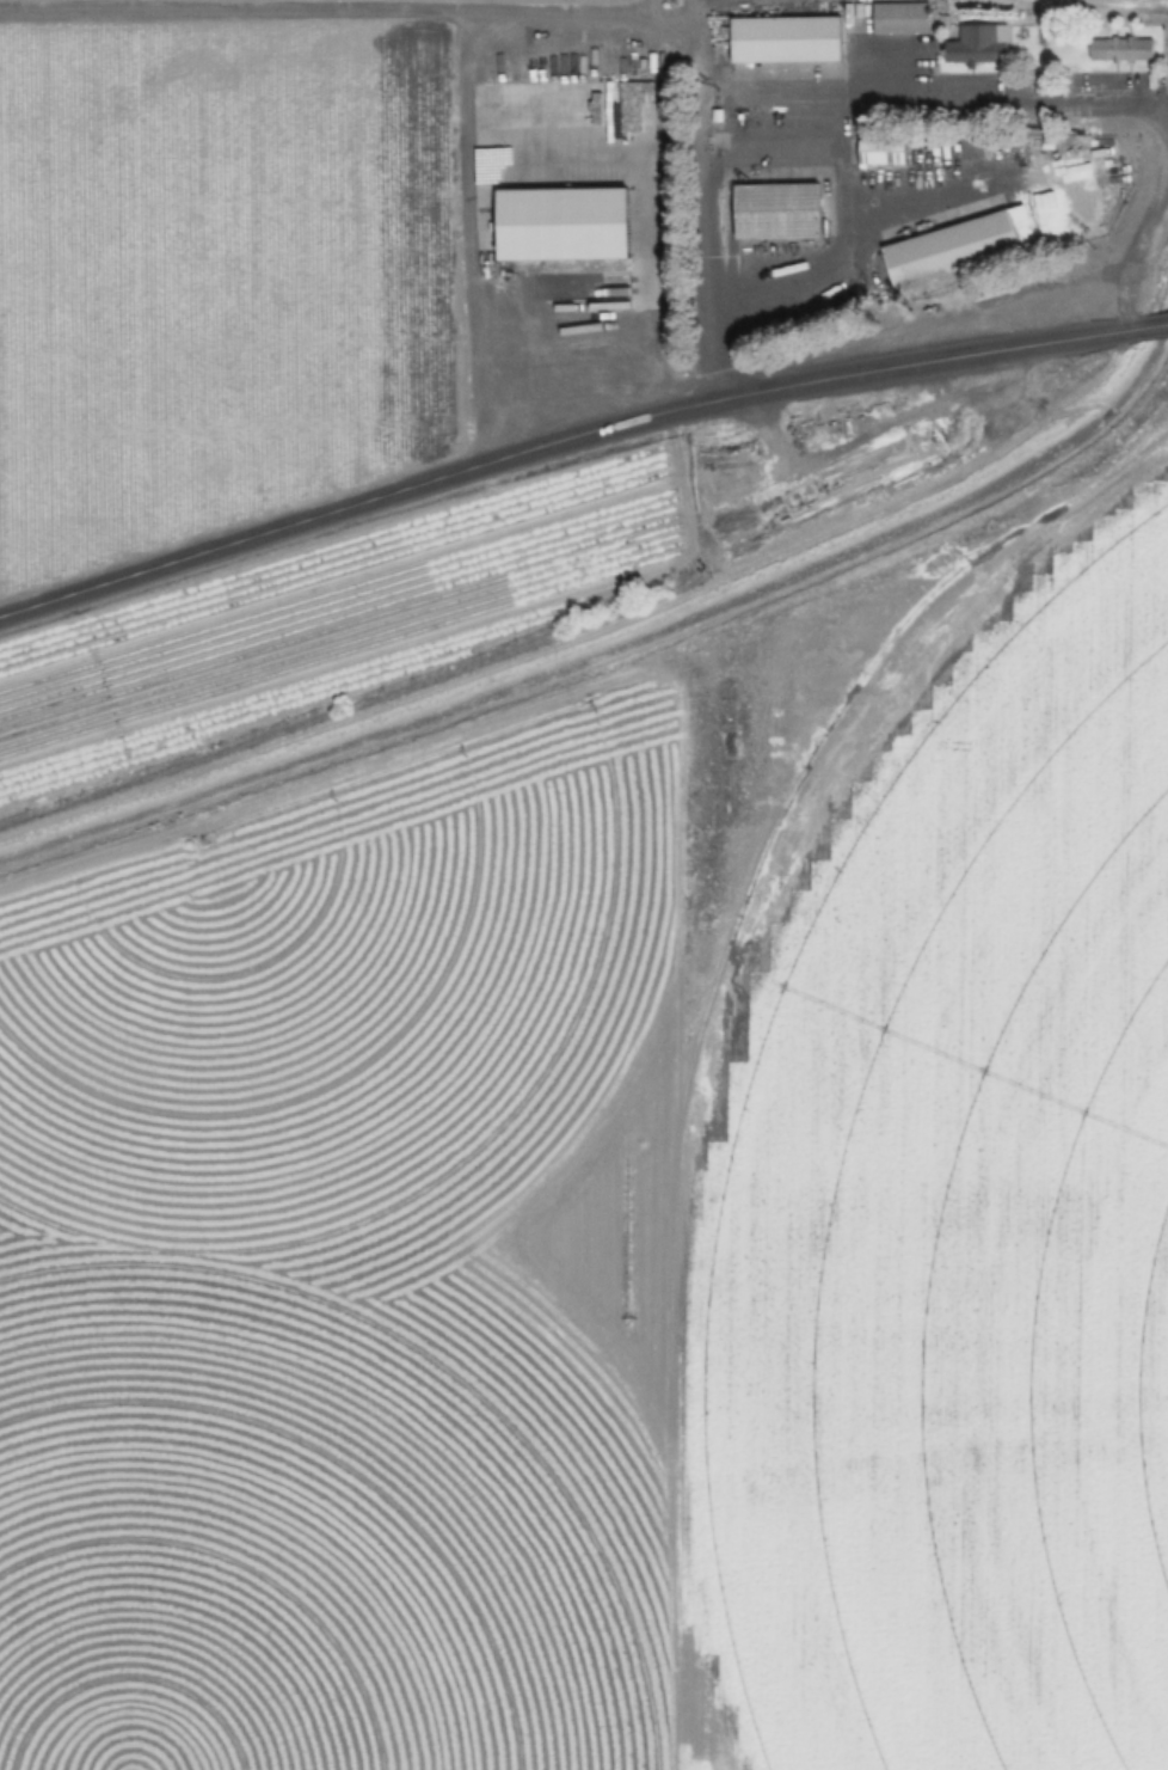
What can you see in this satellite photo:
building: (898, 18)
road: (691, 36)
building: (785, 39)
building: (978, 44)
building: (1120, 50)
building: (880, 153)
building: (776, 212)
building: (561, 225)
building: (958, 247)
road: (1156, 323)
road: (567, 446)

